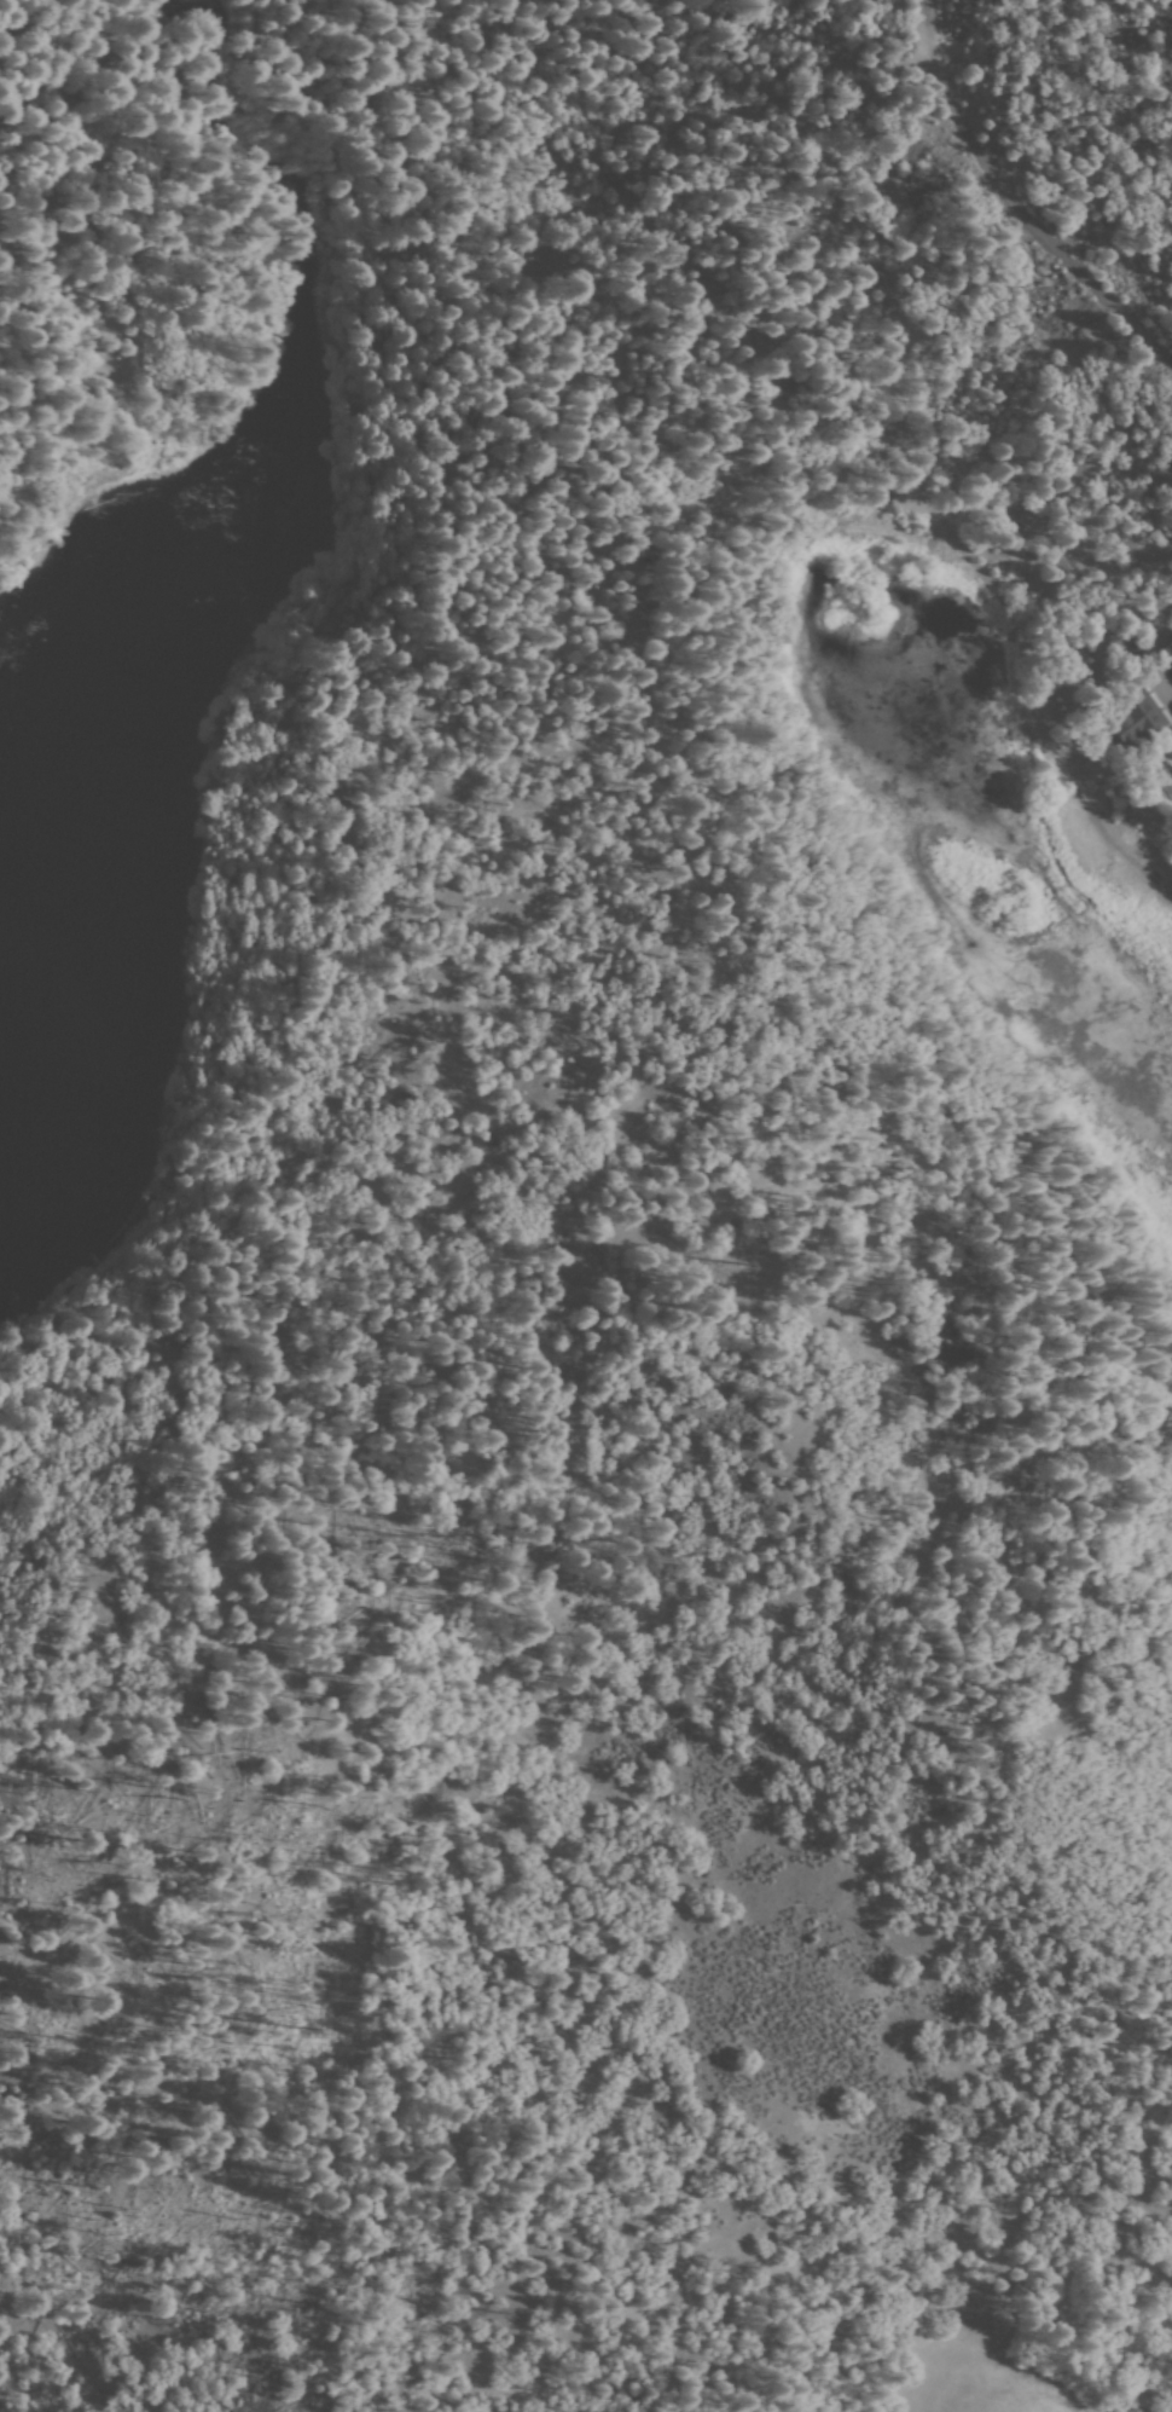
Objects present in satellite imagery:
building: (1166, 655)
building: (1154, 673)
building: (1133, 719)

